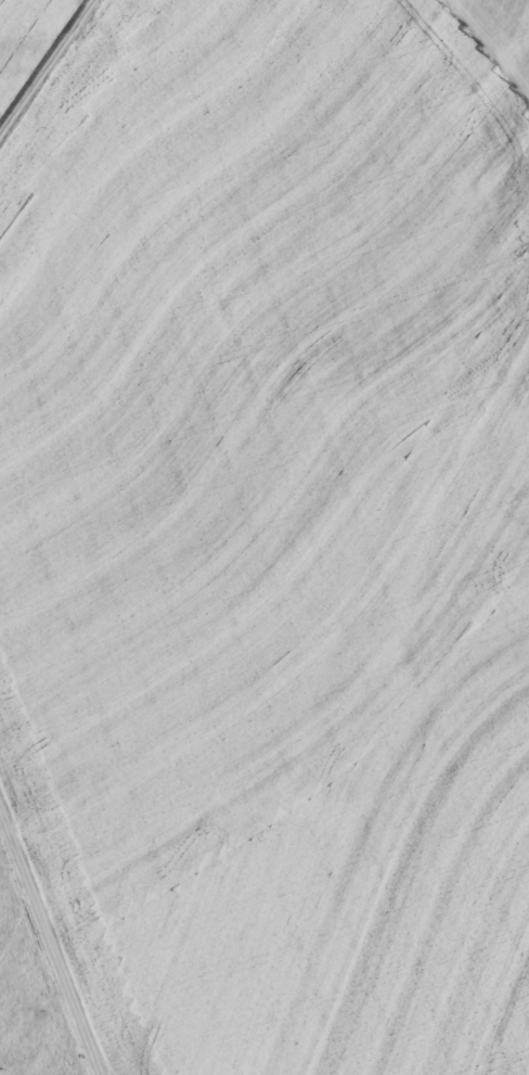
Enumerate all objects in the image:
road: (55, 75)
road: (55, 922)

